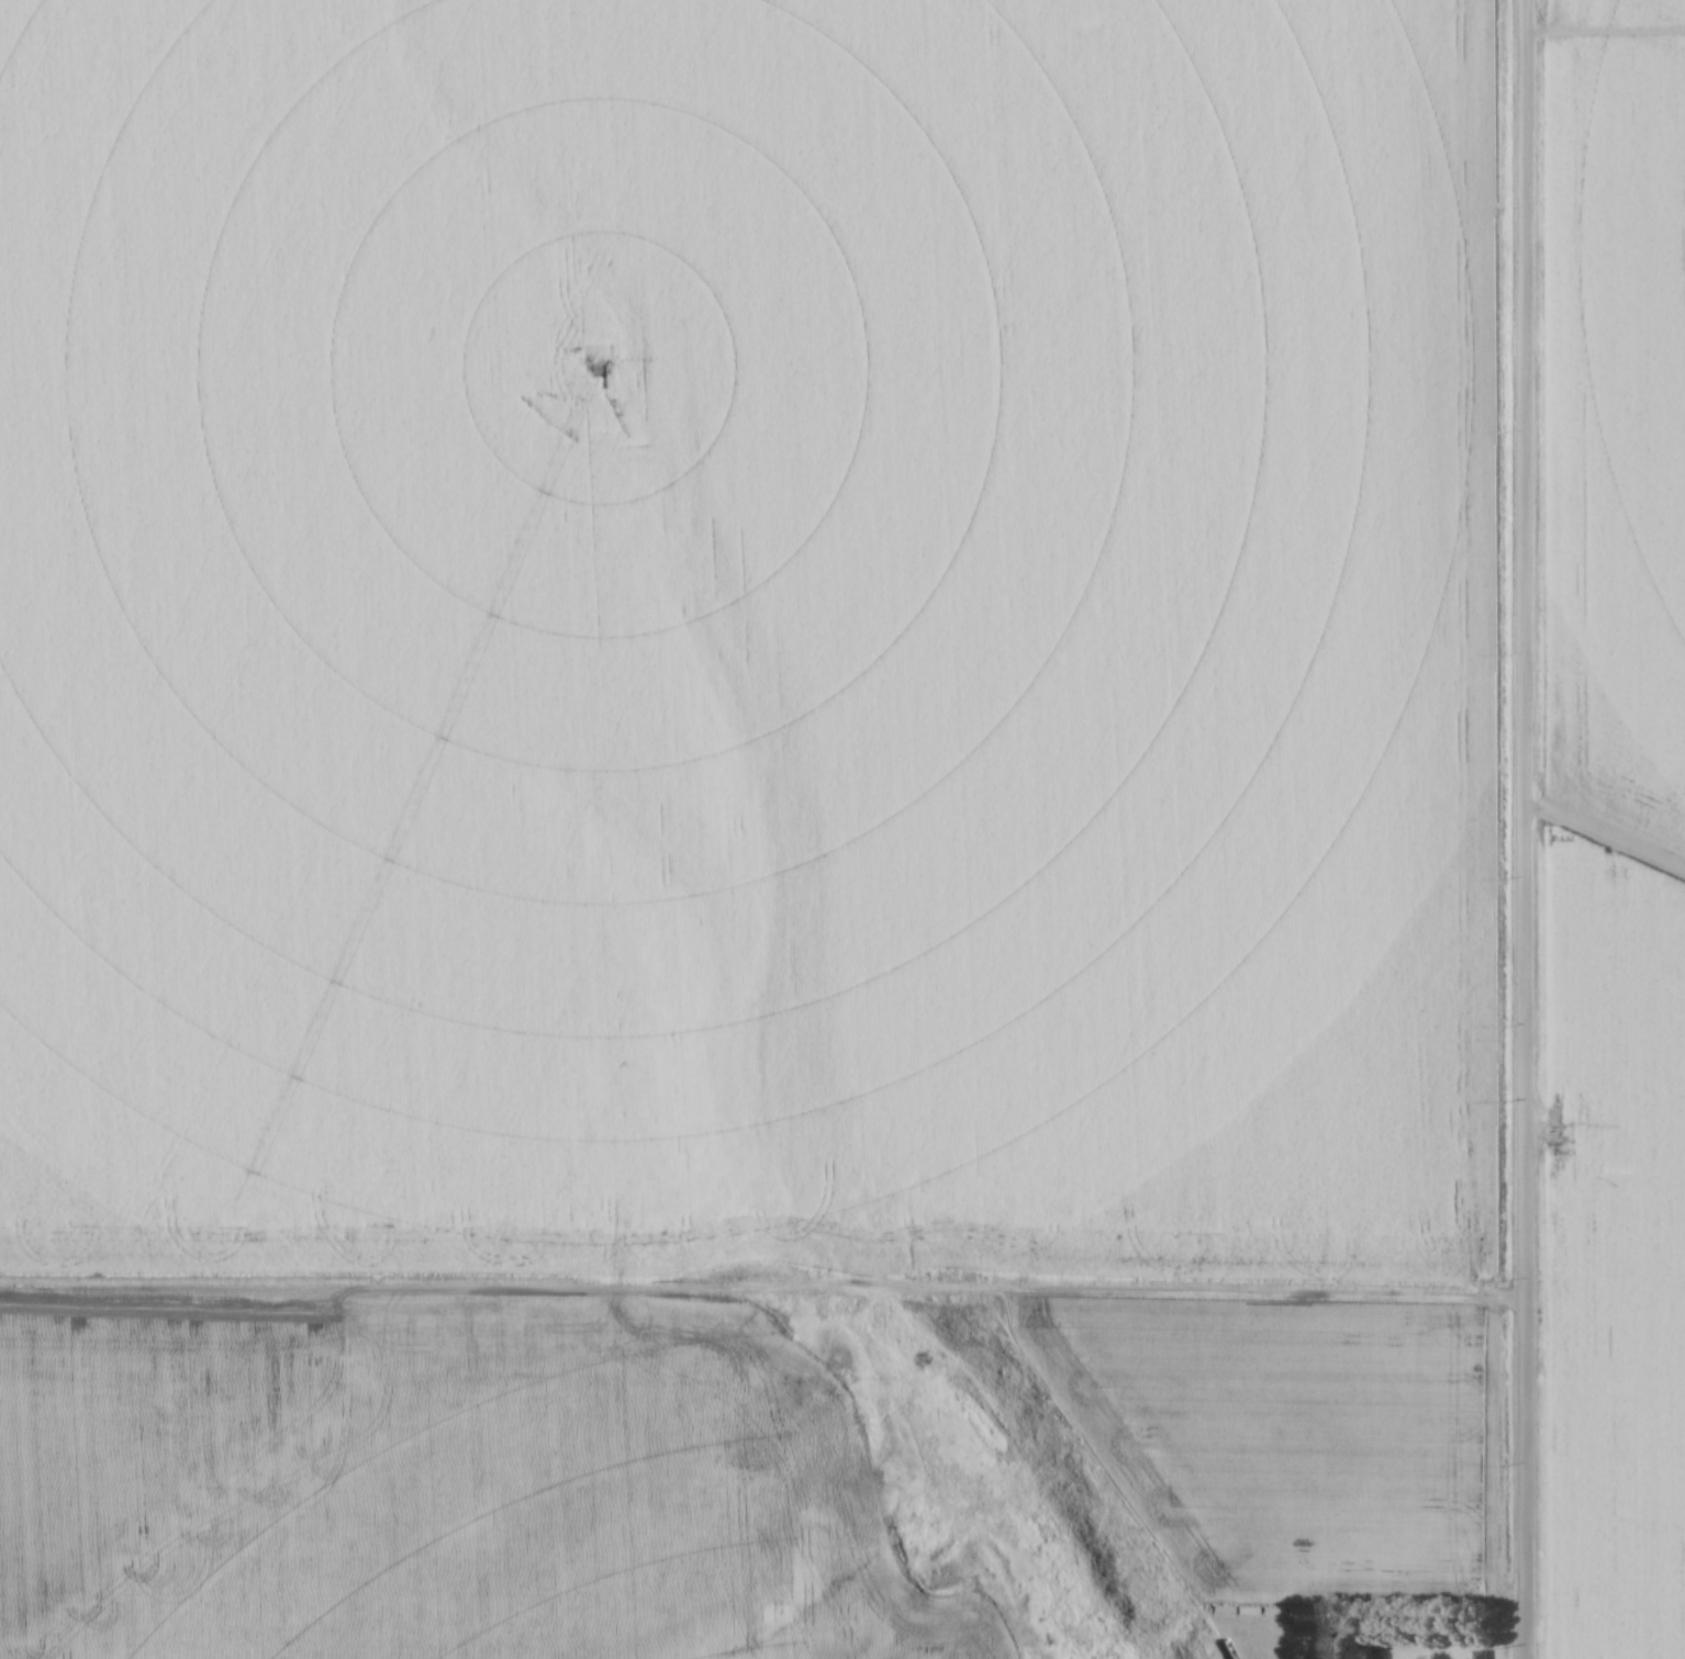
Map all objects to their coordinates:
road: (1526, 829)
building: (1482, 1655)

